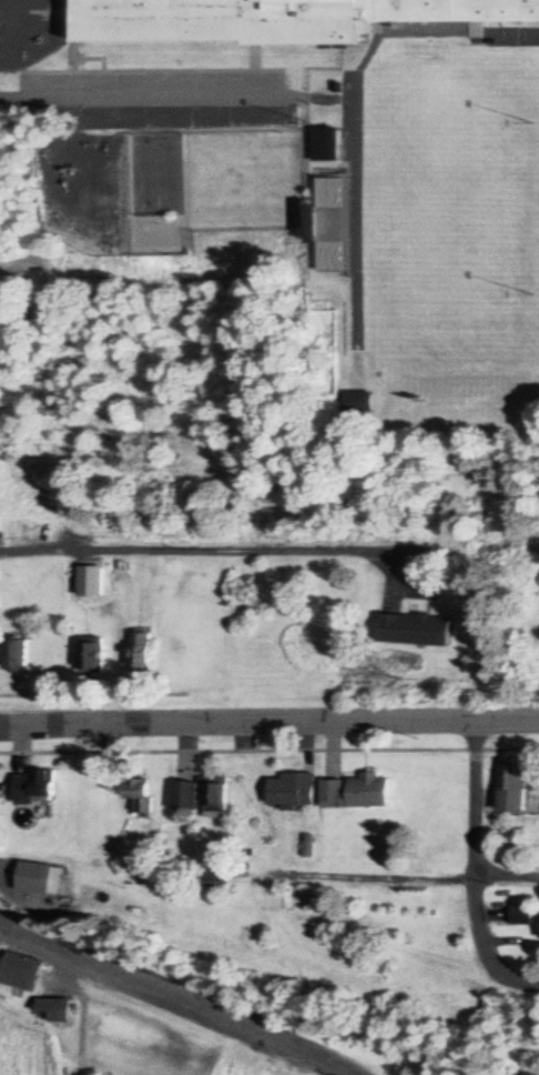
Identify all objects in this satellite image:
building: (275, 20)
building: (325, 145)
park: (159, 177)
park: (438, 209)
building: (329, 227)
road: (203, 552)
building: (90, 583)
building: (415, 631)
building: (140, 654)
building: (14, 656)
building: (91, 659)
road: (268, 723)
building: (43, 786)
building: (513, 787)
building: (294, 791)
building: (358, 793)
building: (140, 796)
building: (184, 796)
building: (215, 797)
road: (476, 847)
building: (214, 875)
building: (37, 880)
building: (523, 913)
building: (19, 973)
road: (518, 977)
road: (174, 984)
building: (529, 1073)

